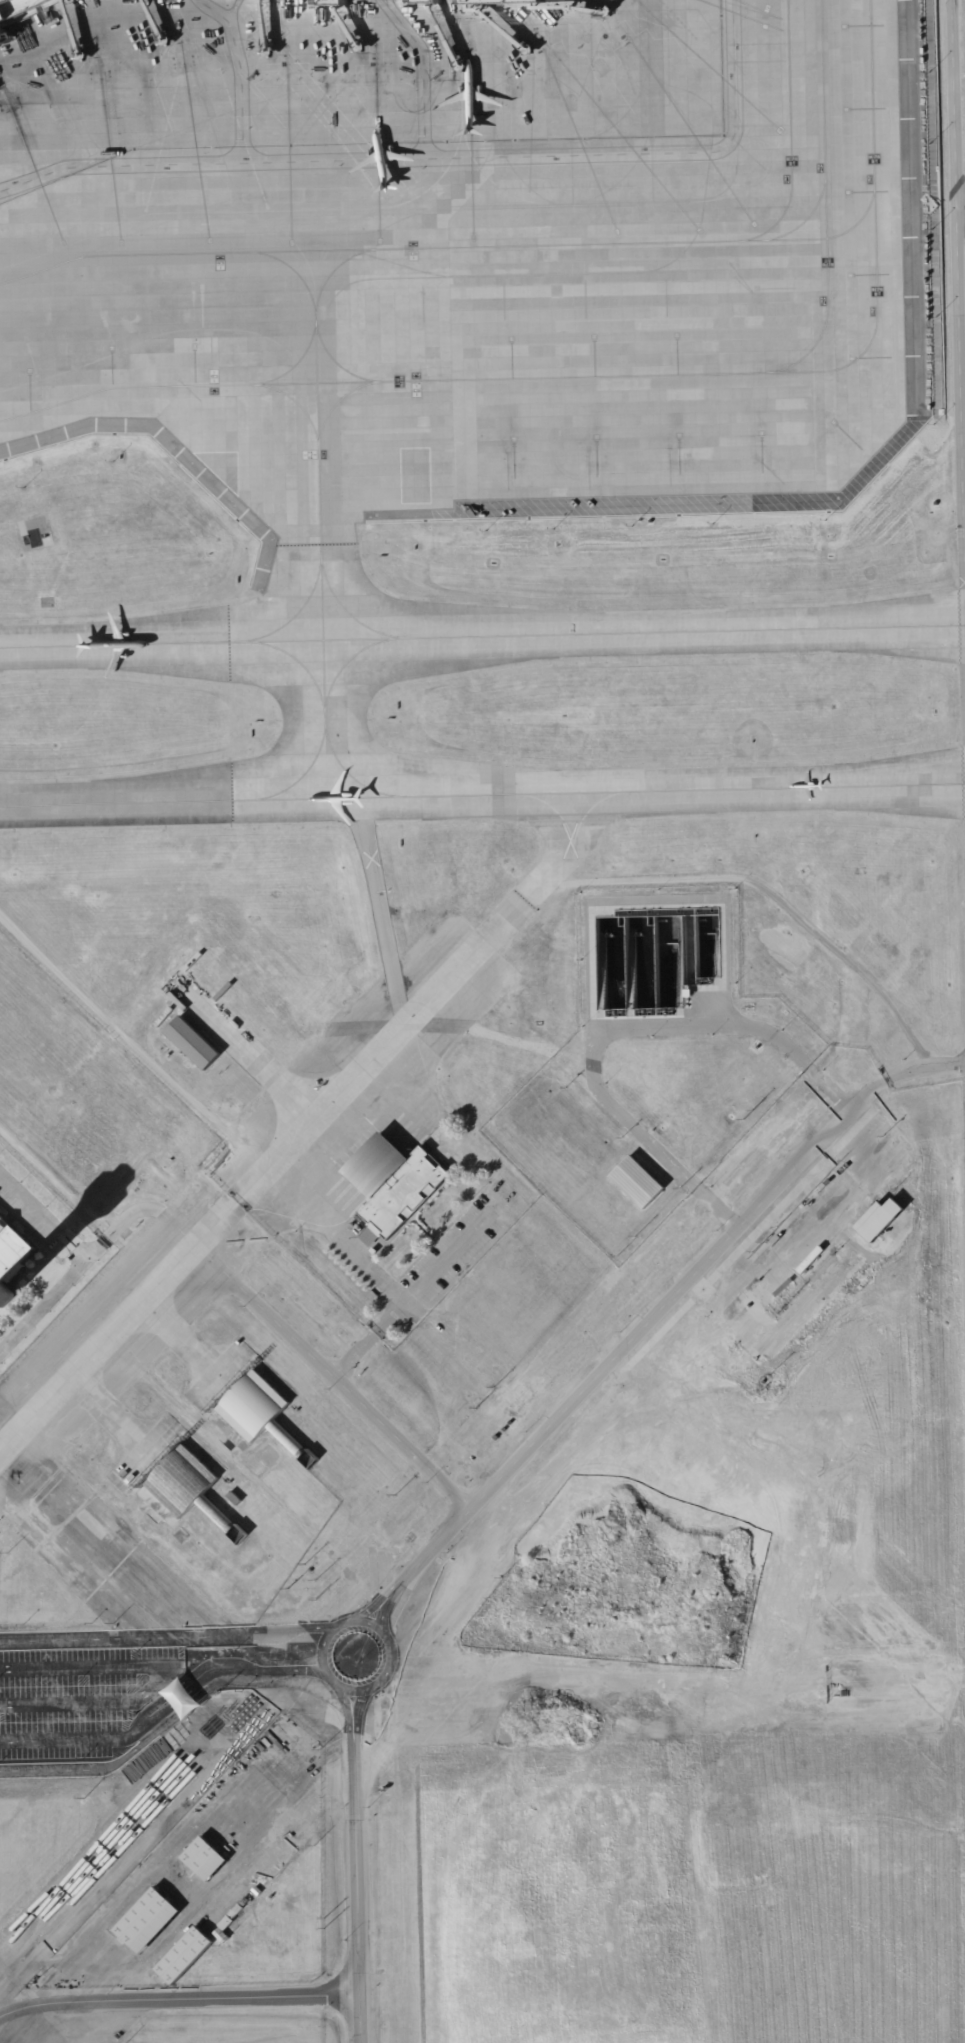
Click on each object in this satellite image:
airport terminal: (492, 3)
building: (492, 3)
airport terminal: (419, 4)
building: (419, 4)
airport terminal: (324, 5)
building: (324, 5)
airport terminal: (16, 7)
building: (16, 7)
road: (244, 71)
road: (433, 153)
airport taxiway: (877, 174)
airport taxiway: (559, 247)
airport apron: (474, 254)
airport taxiway: (181, 255)
airport taxiway: (332, 274)
road: (955, 335)
airport taxiway: (333, 362)
airport taxiway: (292, 373)
airport taxiway: (708, 379)
airport taxiway: (180, 389)
airport taxiway: (288, 398)
airport taxiway: (337, 404)
building: (431, 512)
airport taxiway: (319, 534)
airport taxiway: (345, 611)
airport taxiway: (294, 613)
airport taxiway: (482, 635)
airport taxiway: (297, 661)
airport taxiway: (345, 662)
airport taxiway: (301, 774)
airport taxiway: (482, 794)
building: (651, 959)
airport: (482, 1021)
road: (616, 1030)
building: (746, 1040)
building: (192, 1043)
building: (720, 1068)
road: (924, 1068)
building: (890, 1159)
building: (636, 1182)
building: (393, 1185)
building: (878, 1220)
road: (336, 1235)
road: (95, 1241)
building: (373, 1253)
building: (11, 1258)
building: (793, 1267)
building: (826, 1271)
road: (637, 1335)
road: (93, 1349)
building: (721, 1354)
road: (331, 1375)
building: (261, 1413)
building: (190, 1489)
building: (233, 1498)
road: (369, 1607)
road: (385, 1611)
road: (380, 1630)
road: (168, 1637)
road: (160, 1677)
road: (185, 1678)
parking lot: (79, 1689)
road: (200, 1690)
road: (178, 1694)
building: (180, 1698)
road: (349, 1698)
road: (360, 1699)
road: (355, 1731)
road: (64, 1739)
road: (44, 1768)
road: (173, 1819)
building: (305, 1837)
building: (204, 1859)
building: (259, 1885)
building: (270, 1886)
building: (256, 1888)
building: (253, 1893)
road: (355, 1894)
building: (249, 1896)
building: (271, 1897)
building: (246, 1899)
building: (243, 1903)
building: (235, 1912)
building: (146, 1921)
building: (224, 1924)
building: (220, 1936)
building: (184, 1956)
road: (178, 1996)

